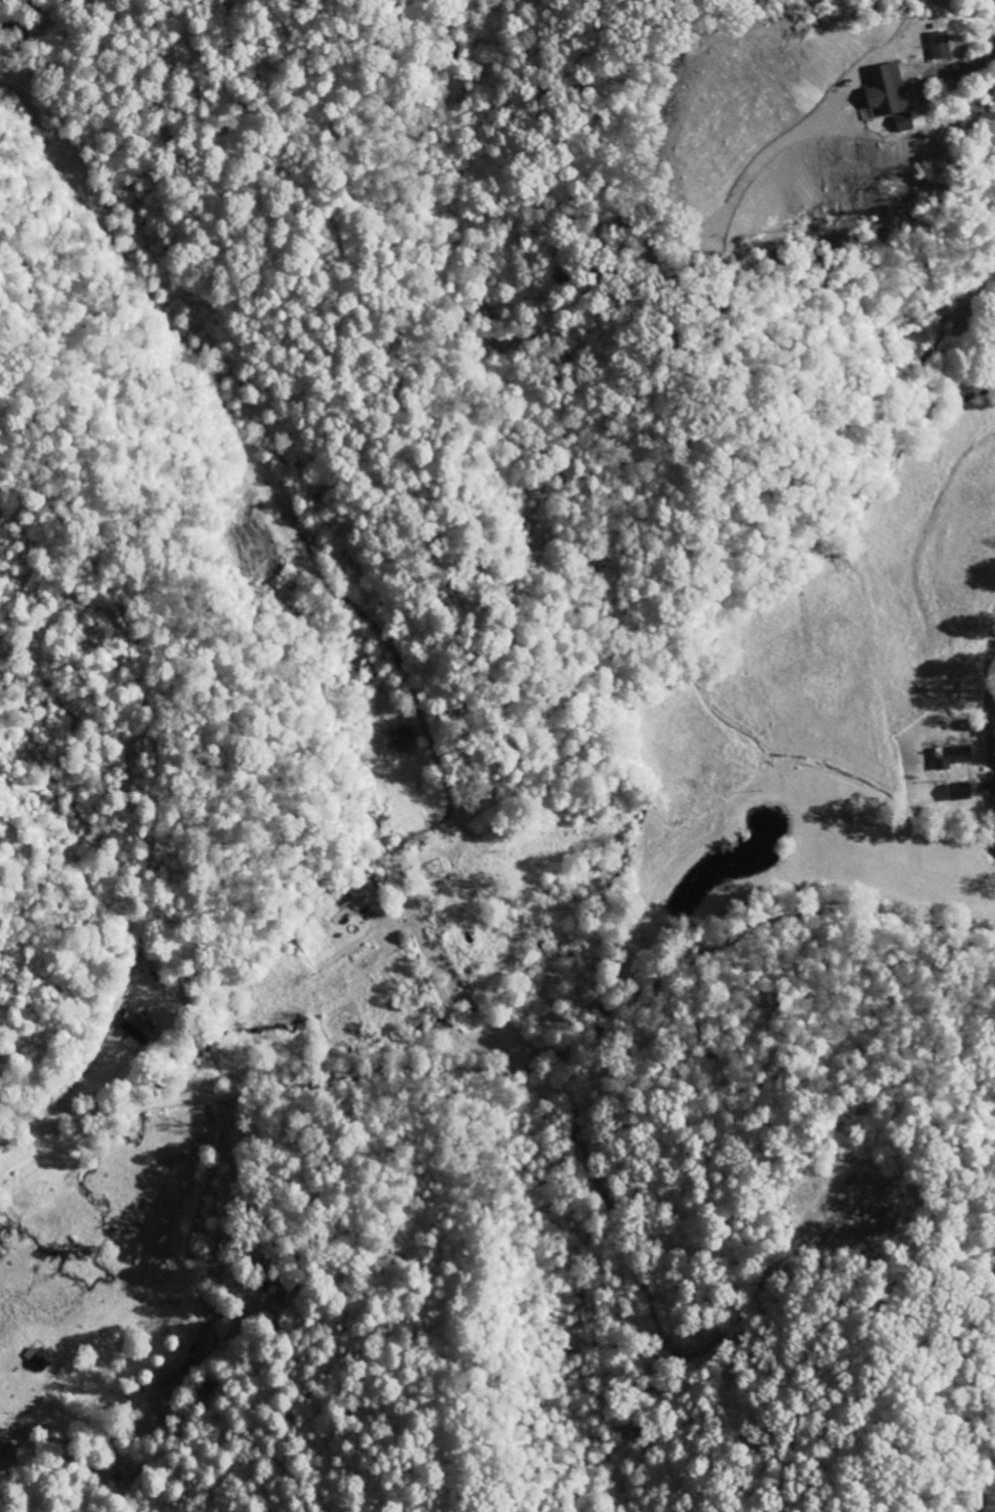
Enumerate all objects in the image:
building: (943, 44)
building: (890, 89)
building: (907, 126)
road: (990, 687)
building: (946, 756)
building: (956, 791)
building: (349, 907)
road: (513, 1064)

